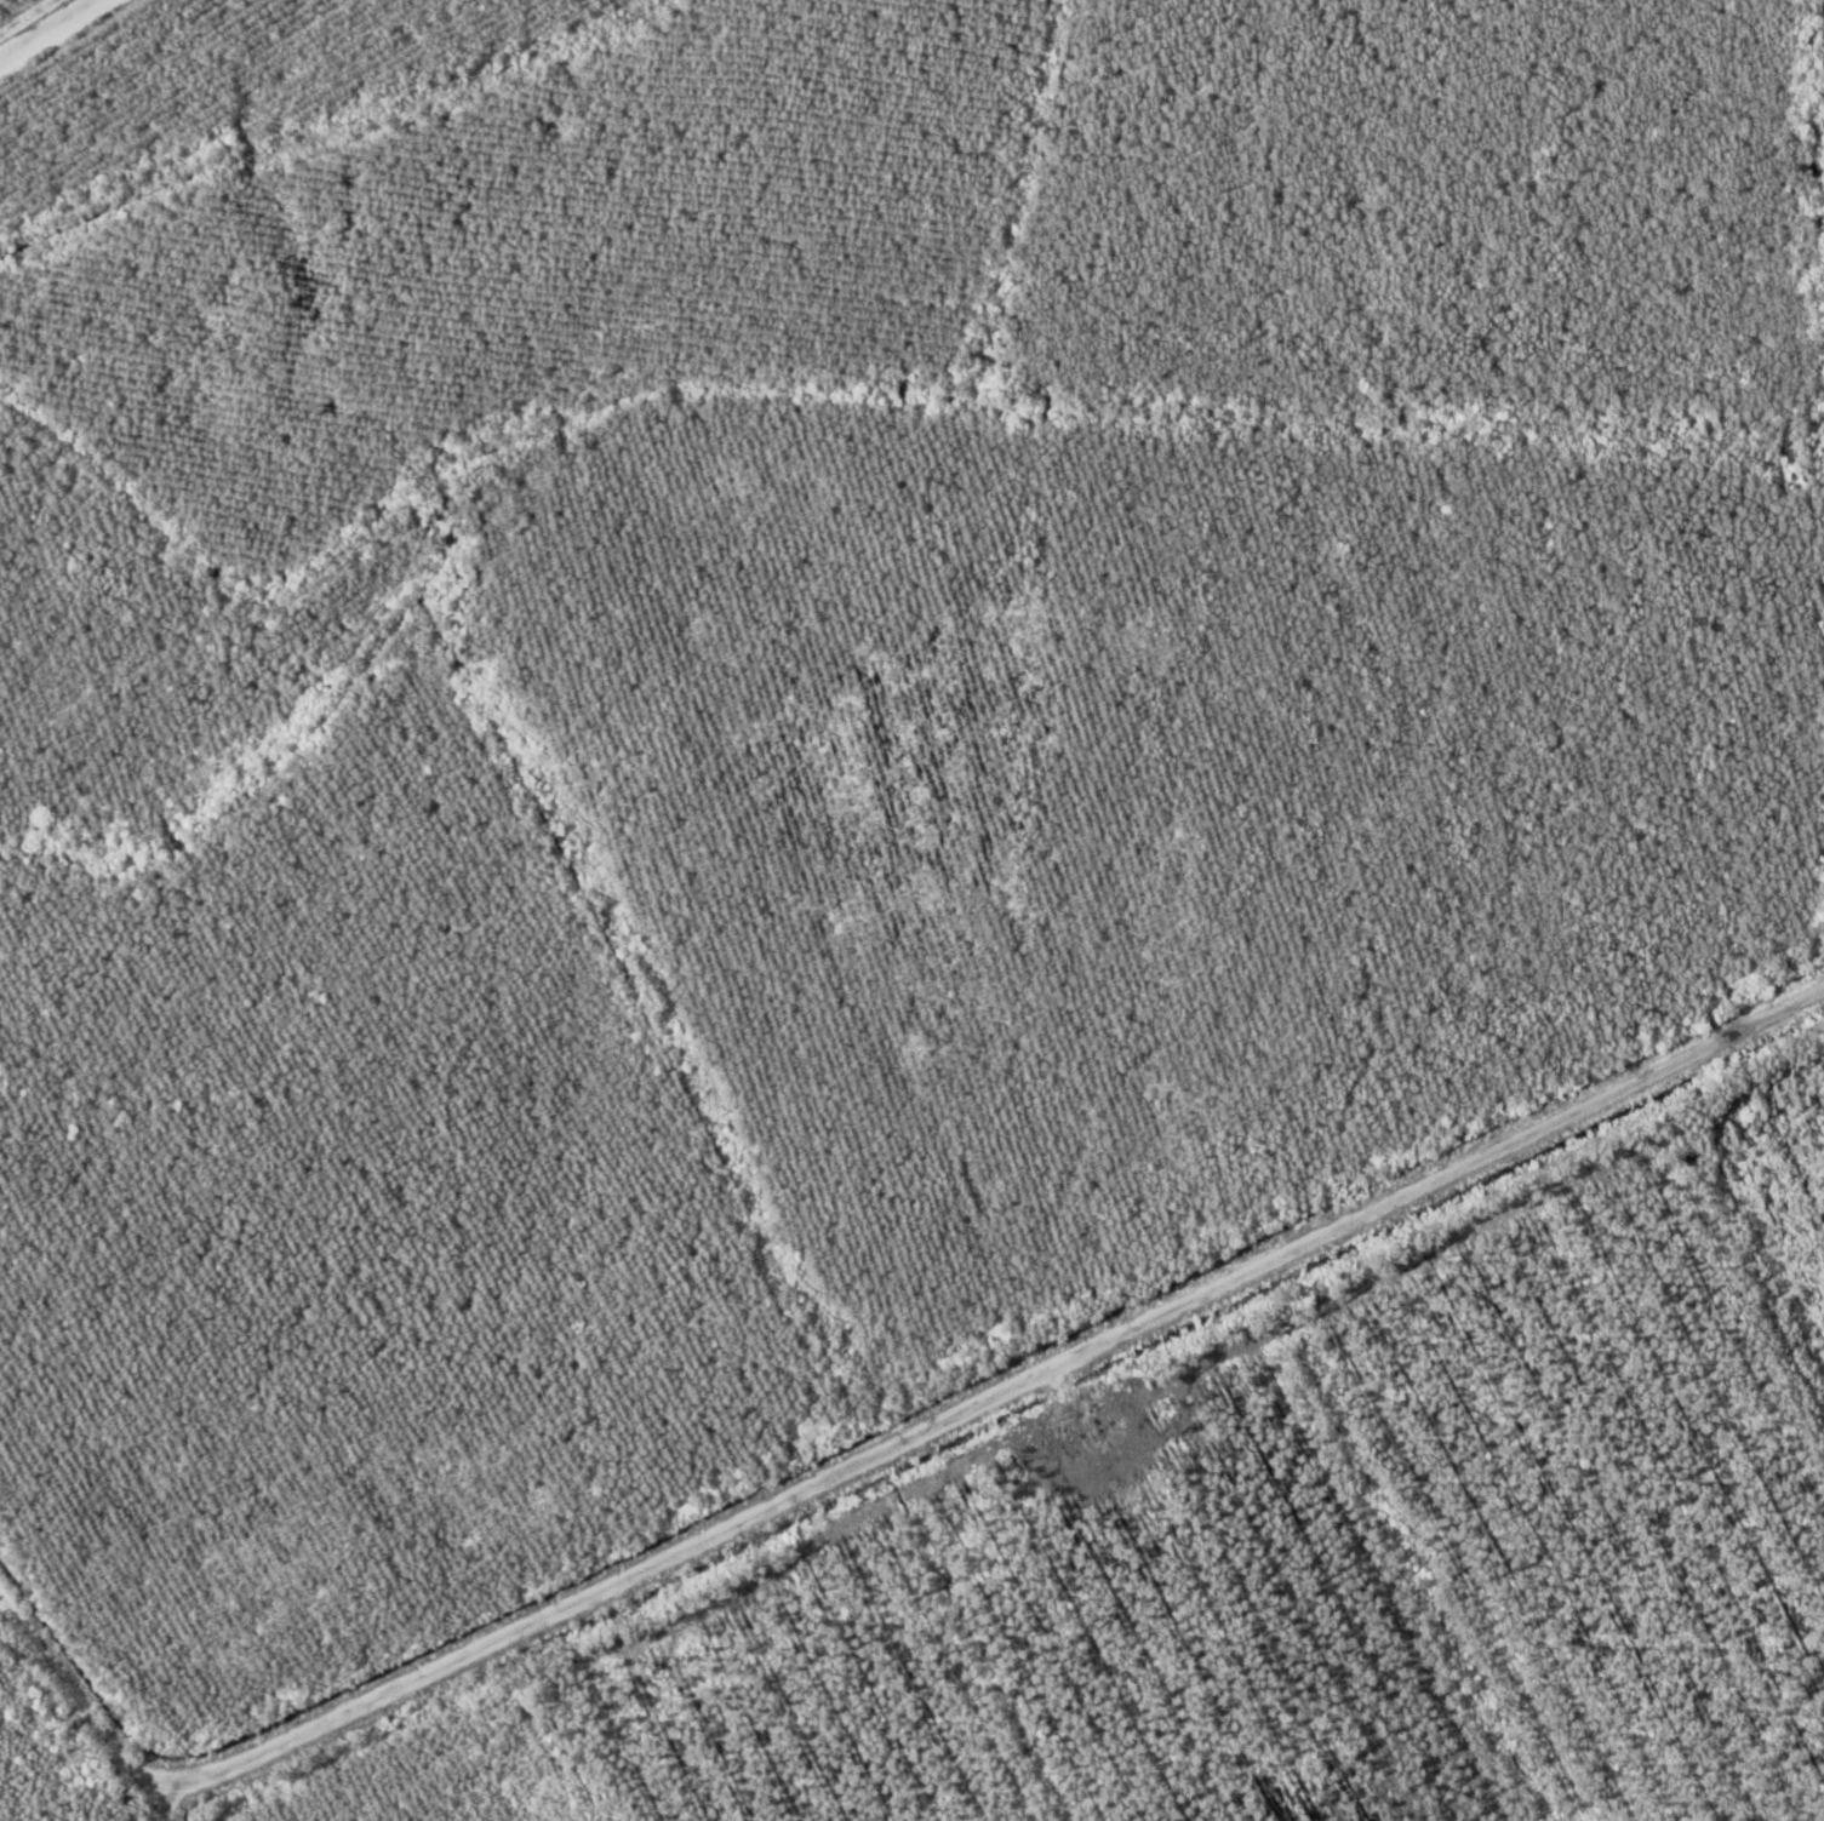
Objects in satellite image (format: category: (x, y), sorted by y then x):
road: (57, 40)
road: (868, 1407)
road: (153, 1814)

